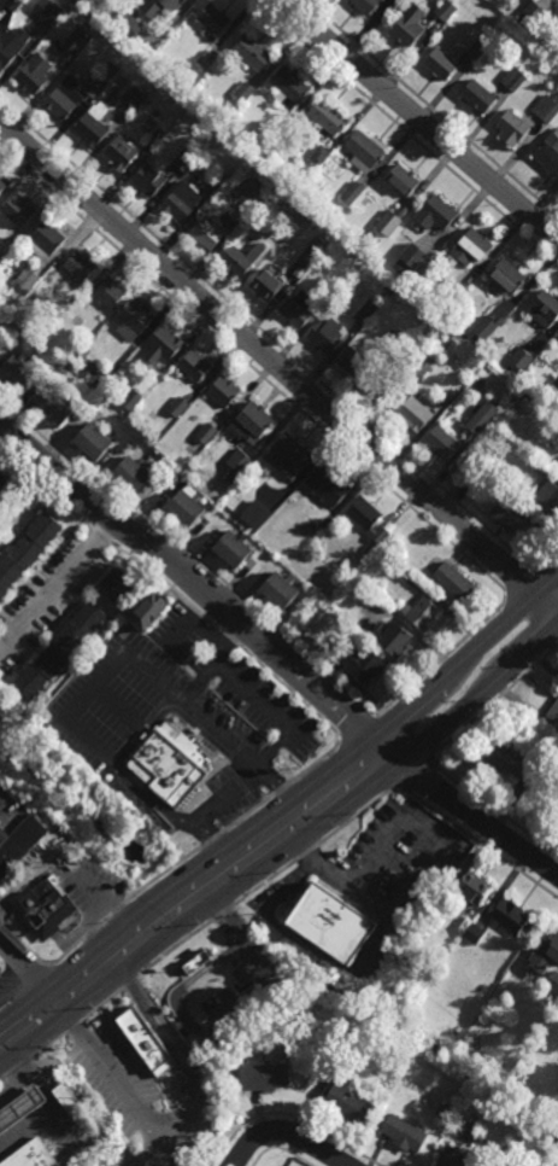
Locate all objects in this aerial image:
building: (12, 4)
building: (366, 5)
building: (47, 10)
building: (445, 10)
building: (528, 13)
building: (151, 14)
building: (212, 23)
building: (407, 27)
building: (77, 41)
building: (11, 46)
building: (476, 48)
building: (251, 54)
building: (67, 59)
building: (205, 59)
building: (439, 65)
building: (33, 76)
building: (512, 77)
building: (99, 80)
building: (290, 87)
building: (245, 92)
building: (557, 95)
building: (134, 97)
building: (475, 98)
building: (64, 100)
building: (546, 107)
road: (430, 109)
building: (325, 119)
road: (418, 119)
building: (92, 127)
building: (280, 129)
road: (405, 130)
building: (512, 130)
building: (157, 136)
building: (365, 155)
building: (122, 156)
building: (319, 156)
building: (184, 159)
building: (547, 161)
building: (225, 175)
building: (400, 182)
building: (146, 183)
building: (1, 188)
building: (212, 190)
building: (352, 193)
building: (280, 199)
building: (182, 205)
building: (17, 212)
building: (241, 214)
building: (435, 216)
building: (388, 223)
building: (206, 234)
building: (46, 238)
building: (470, 250)
building: (353, 251)
building: (412, 255)
building: (304, 256)
building: (0, 258)
building: (241, 262)
building: (78, 267)
building: (400, 268)
building: (27, 280)
building: (505, 281)
building: (264, 286)
building: (40, 292)
building: (108, 292)
building: (451, 297)
building: (294, 309)
building: (366, 311)
building: (542, 311)
building: (131, 320)
building: (486, 325)
road: (269, 337)
building: (557, 338)
building: (325, 339)
building: (390, 340)
building: (161, 345)
building: (70, 356)
building: (519, 358)
building: (353, 366)
building: (423, 366)
building: (81, 367)
building: (193, 367)
road: (278, 367)
road: (257, 372)
building: (16, 375)
building: (554, 385)
building: (380, 390)
building: (223, 393)
building: (450, 395)
building: (131, 400)
building: (177, 407)
building: (54, 409)
building: (410, 415)
building: (482, 418)
building: (249, 422)
building: (553, 427)
building: (207, 433)
building: (441, 443)
building: (92, 444)
building: (287, 457)
building: (237, 466)
building: (536, 468)
building: (556, 471)
building: (131, 477)
building: (1, 479)
road: (45, 486)
building: (325, 486)
building: (546, 502)
building: (186, 511)
building: (254, 515)
building: (507, 517)
building: (366, 521)
building: (316, 529)
road: (100, 534)
building: (231, 547)
building: (23, 549)
road: (190, 553)
road: (551, 561)
road: (557, 561)
road: (42, 566)
building: (403, 571)
building: (117, 581)
road: (166, 582)
building: (452, 582)
road: (522, 583)
road: (60, 587)
building: (280, 588)
road: (202, 589)
building: (148, 607)
road: (66, 613)
building: (422, 616)
road: (193, 620)
road: (527, 626)
road: (229, 637)
building: (394, 639)
building: (311, 640)
building: (59, 647)
road: (440, 660)
building: (364, 666)
road: (293, 693)
road: (498, 698)
road: (119, 710)
building: (552, 712)
road: (164, 716)
road: (417, 724)
road: (356, 730)
road: (143, 731)
road: (204, 731)
road: (196, 740)
road: (240, 752)
building: (512, 760)
road: (216, 762)
road: (313, 764)
road: (114, 765)
road: (225, 765)
building: (169, 766)
road: (239, 770)
road: (415, 771)
road: (281, 791)
road: (286, 804)
road: (491, 806)
road: (309, 810)
road: (439, 812)
road: (248, 814)
road: (480, 818)
road: (183, 822)
road: (421, 824)
building: (1, 835)
road: (207, 838)
road: (271, 838)
road: (213, 840)
building: (19, 844)
road: (187, 844)
road: (284, 850)
road: (307, 855)
road: (234, 865)
building: (472, 886)
building: (41, 906)
building: (510, 916)
road: (216, 919)
road: (99, 925)
building: (331, 925)
building: (464, 925)
building: (474, 933)
road: (35, 934)
road: (316, 951)
building: (545, 954)
building: (198, 964)
road: (19, 966)
road: (1, 970)
road: (36, 970)
road: (130, 984)
building: (552, 986)
road: (18, 989)
road: (102, 1004)
road: (74, 1026)
building: (353, 1033)
road: (48, 1044)
building: (276, 1049)
building: (148, 1051)
road: (18, 1066)
building: (233, 1072)
building: (265, 1075)
road: (1, 1078)
building: (69, 1100)
building: (351, 1102)
building: (20, 1108)
gas station: (20, 1108)
building: (444, 1110)
road: (184, 1115)
road: (289, 1115)
building: (440, 1121)
building: (404, 1132)
road: (286, 1133)
road: (153, 1144)
road: (280, 1149)
building: (30, 1155)
building: (454, 1159)
road: (146, 1162)

